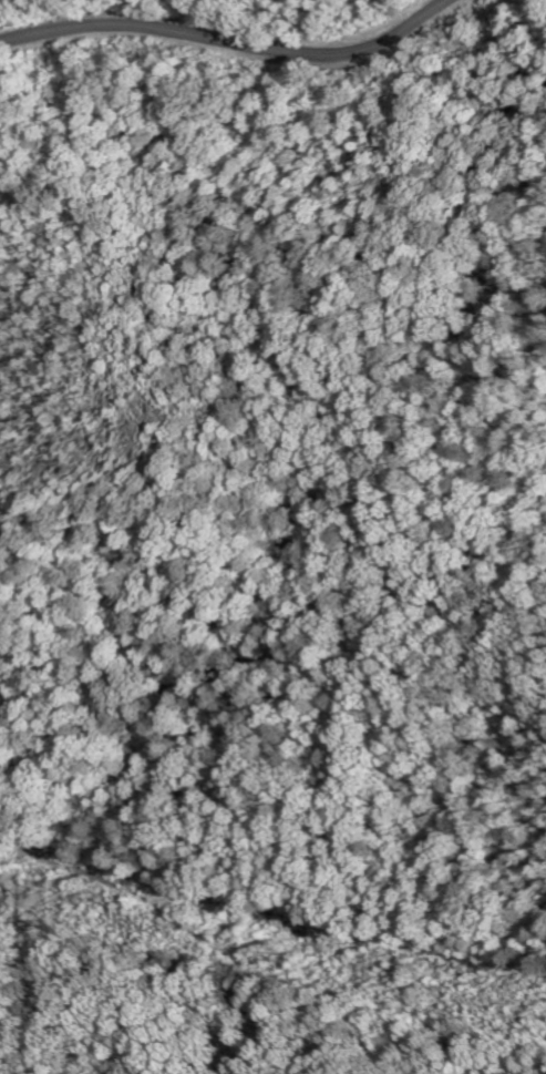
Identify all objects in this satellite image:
road: (233, 43)

